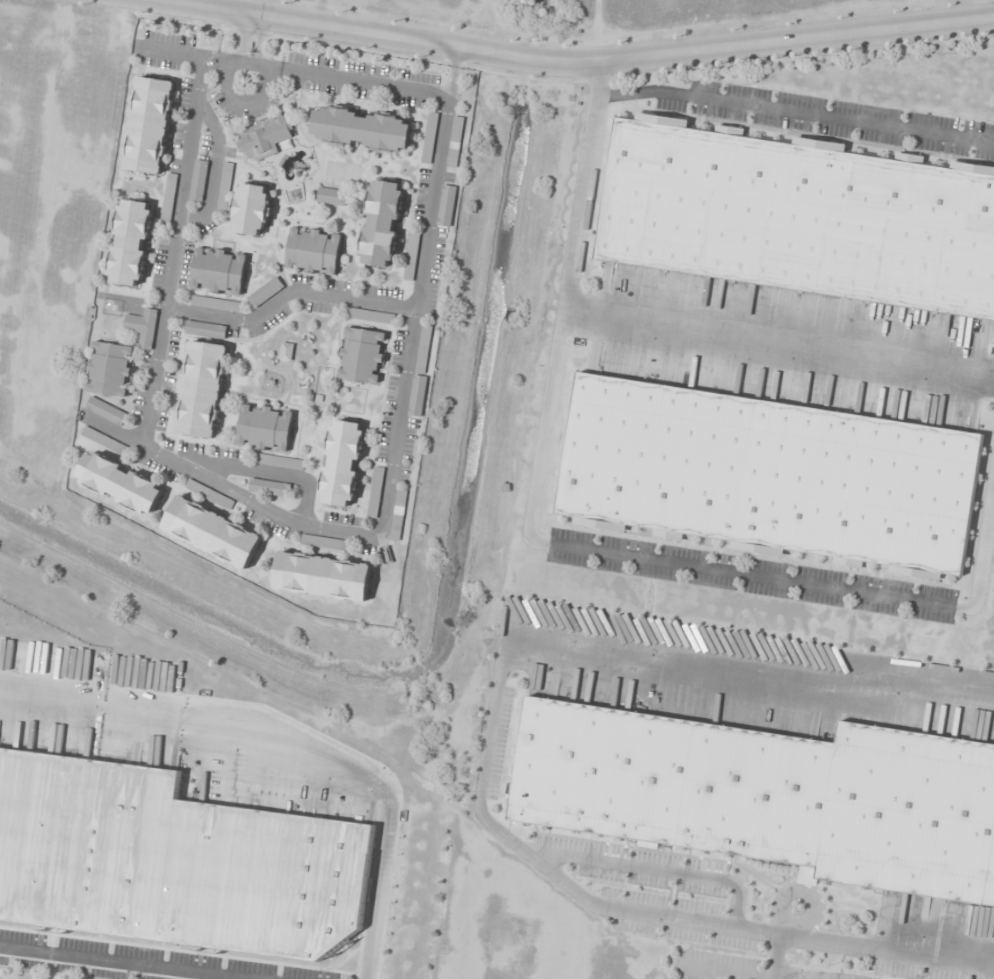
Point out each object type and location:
road: (243, 37)
road: (259, 40)
road: (578, 61)
road: (296, 70)
building: (150, 125)
building: (362, 129)
building: (429, 138)
building: (266, 139)
building: (455, 142)
road: (213, 170)
building: (199, 181)
building: (224, 195)
building: (332, 197)
building: (169, 199)
building: (446, 206)
building: (252, 210)
building: (798, 216)
building: (382, 224)
building: (131, 243)
road: (172, 250)
building: (314, 251)
building: (411, 256)
building: (219, 271)
building: (265, 292)
road: (285, 295)
building: (216, 304)
building: (368, 316)
building: (143, 327)
building: (426, 329)
building: (206, 330)
building: (362, 355)
building: (109, 369)
building: (202, 390)
building: (417, 396)
building: (106, 411)
building: (265, 428)
building: (93, 435)
road: (393, 449)
building: (342, 463)
building: (772, 477)
building: (377, 478)
building: (120, 483)
building: (269, 488)
building: (212, 532)
building: (324, 543)
road: (576, 548)
building: (323, 576)
road: (485, 753)
building: (769, 796)
building: (172, 861)
road: (777, 958)

